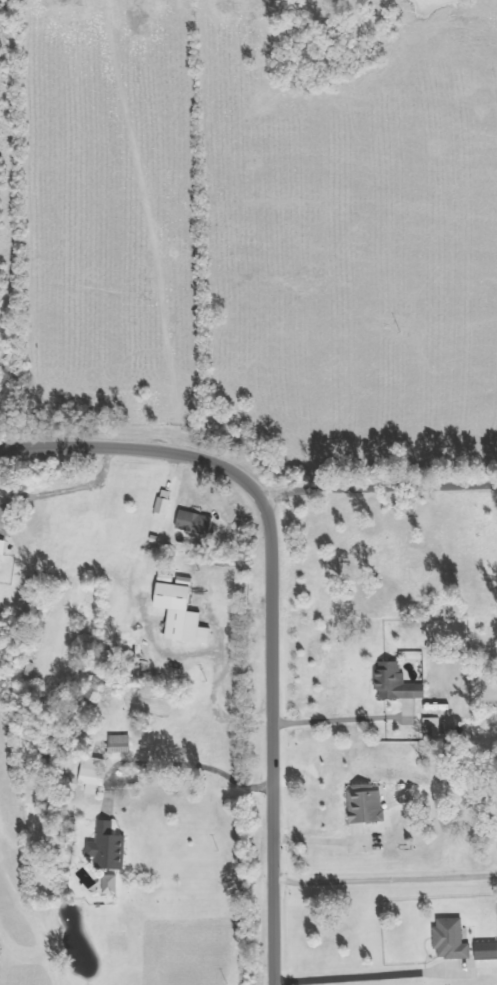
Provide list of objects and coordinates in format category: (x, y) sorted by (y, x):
road: (377, 487)
building: (165, 505)
building: (196, 523)
building: (6, 548)
road: (270, 603)
building: (398, 683)
building: (434, 727)
building: (121, 744)
building: (94, 774)
building: (367, 807)
building: (109, 848)
road: (385, 880)
building: (111, 885)
building: (453, 939)
building: (486, 951)

